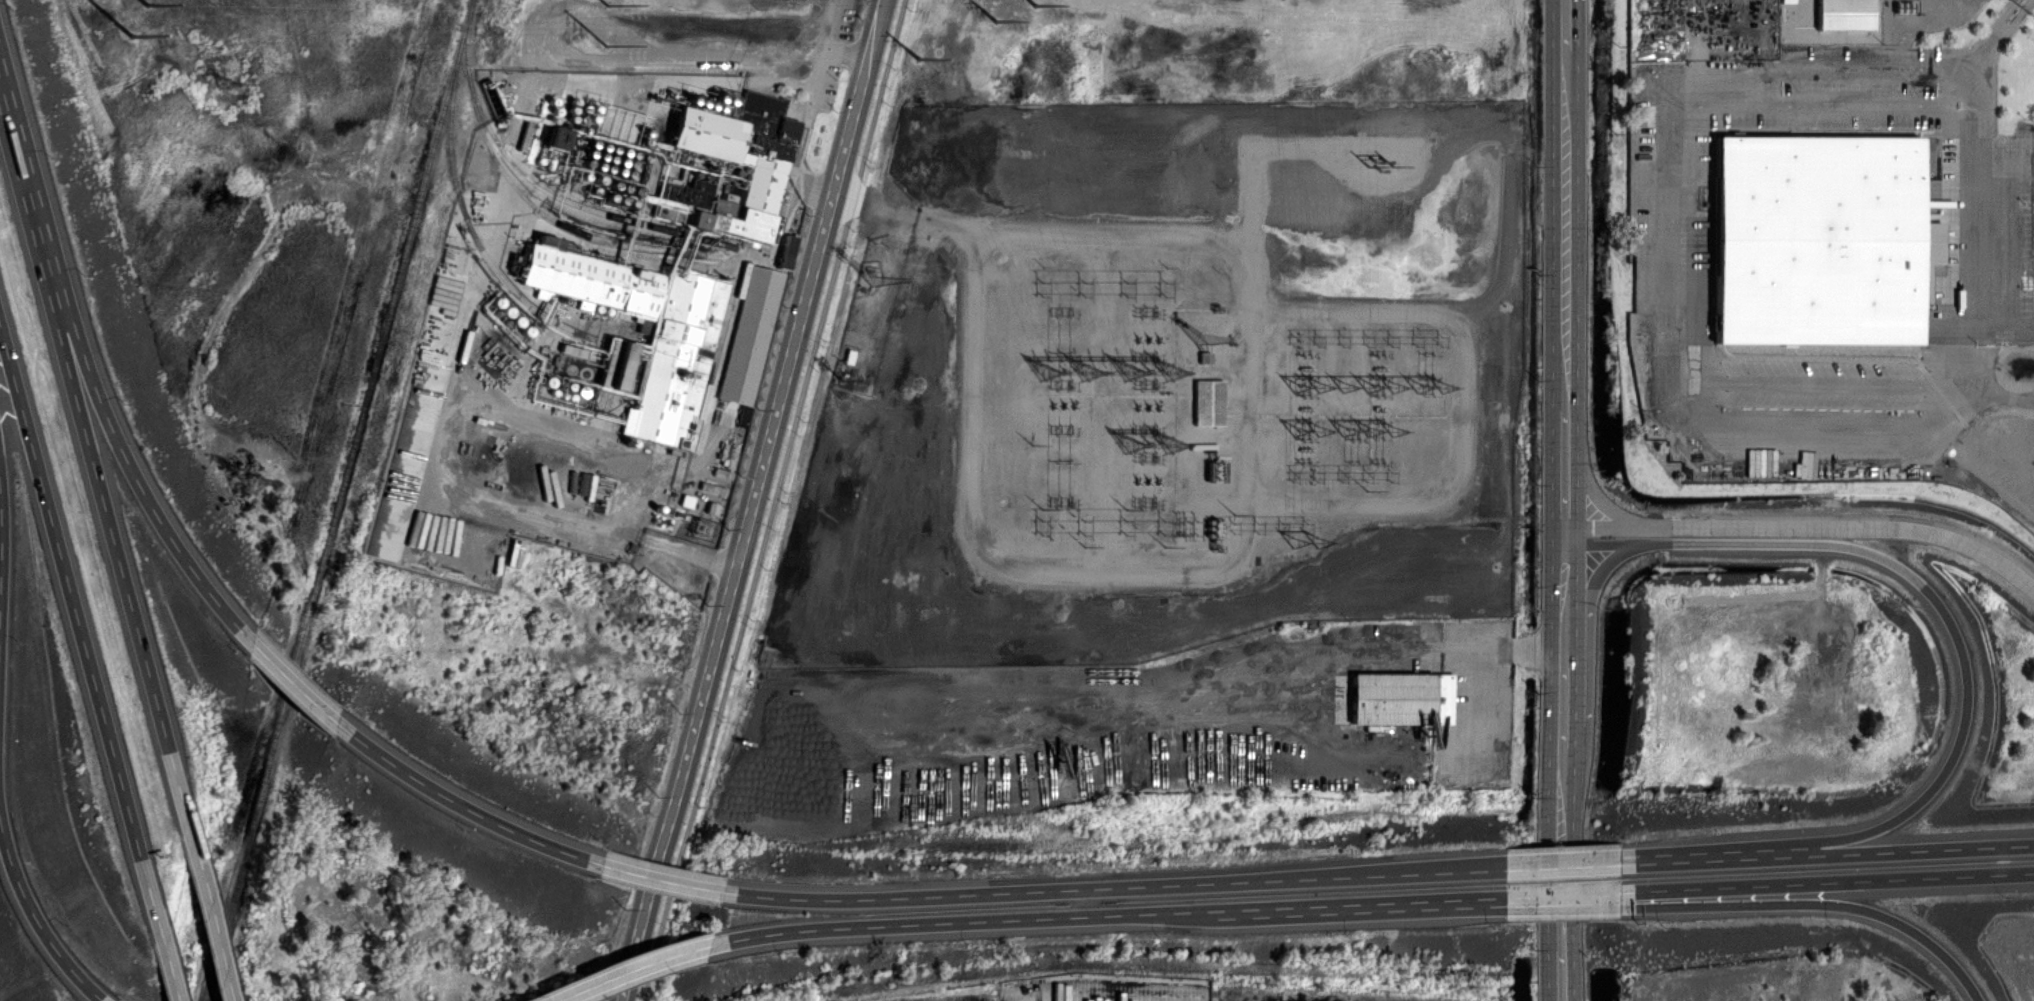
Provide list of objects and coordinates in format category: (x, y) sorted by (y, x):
power tower: (608, 5)
power tower: (1036, 7)
power tower: (997, 24)
road: (830, 29)
road: (1565, 31)
power tower: (135, 36)
power tower: (606, 48)
power tower: (920, 58)
power tower: (227, 82)
road: (808, 118)
road: (2009, 162)
railway: (539, 185)
road: (1985, 200)
railway: (551, 215)
railway: (466, 216)
road: (1040, 229)
road: (1565, 232)
building: (1817, 242)
building: (679, 257)
road: (1679, 274)
building: (750, 335)
road: (93, 377)
road: (1996, 398)
building: (1208, 402)
power substation: (1191, 410)
road: (88, 445)
road: (1564, 472)
power tower: (250, 481)
road: (1595, 494)
railway: (342, 500)
road: (758, 500)
road: (773, 500)
road: (0, 524)
road: (1605, 528)
road: (1848, 528)
road: (1594, 589)
road: (1565, 597)
road: (73, 604)
road: (1961, 641)
road: (1488, 656)
road: (295, 688)
building: (1394, 699)
road: (1565, 707)
road: (458, 803)
road: (1851, 851)
road: (1564, 860)
road: (1644, 862)
road: (1563, 867)
road: (660, 880)
road: (1826, 882)
road: (1121, 886)
road: (1562, 895)
road: (1563, 899)
road: (206, 900)
road: (1819, 904)
road: (1116, 914)
road: (33, 928)
road: (161, 943)
road: (637, 965)
road: (1563, 979)
road: (92, 1000)

